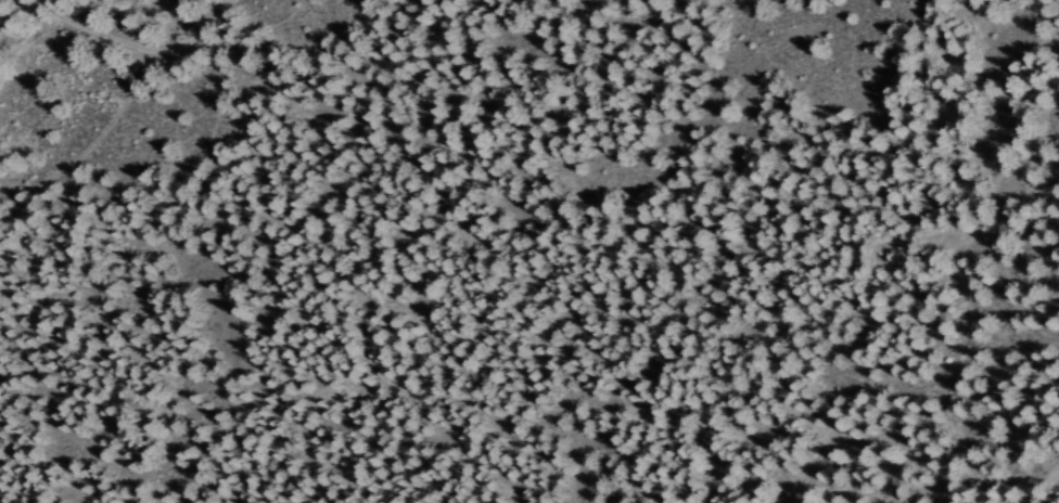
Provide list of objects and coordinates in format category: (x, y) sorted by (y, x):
road: (107, 85)

